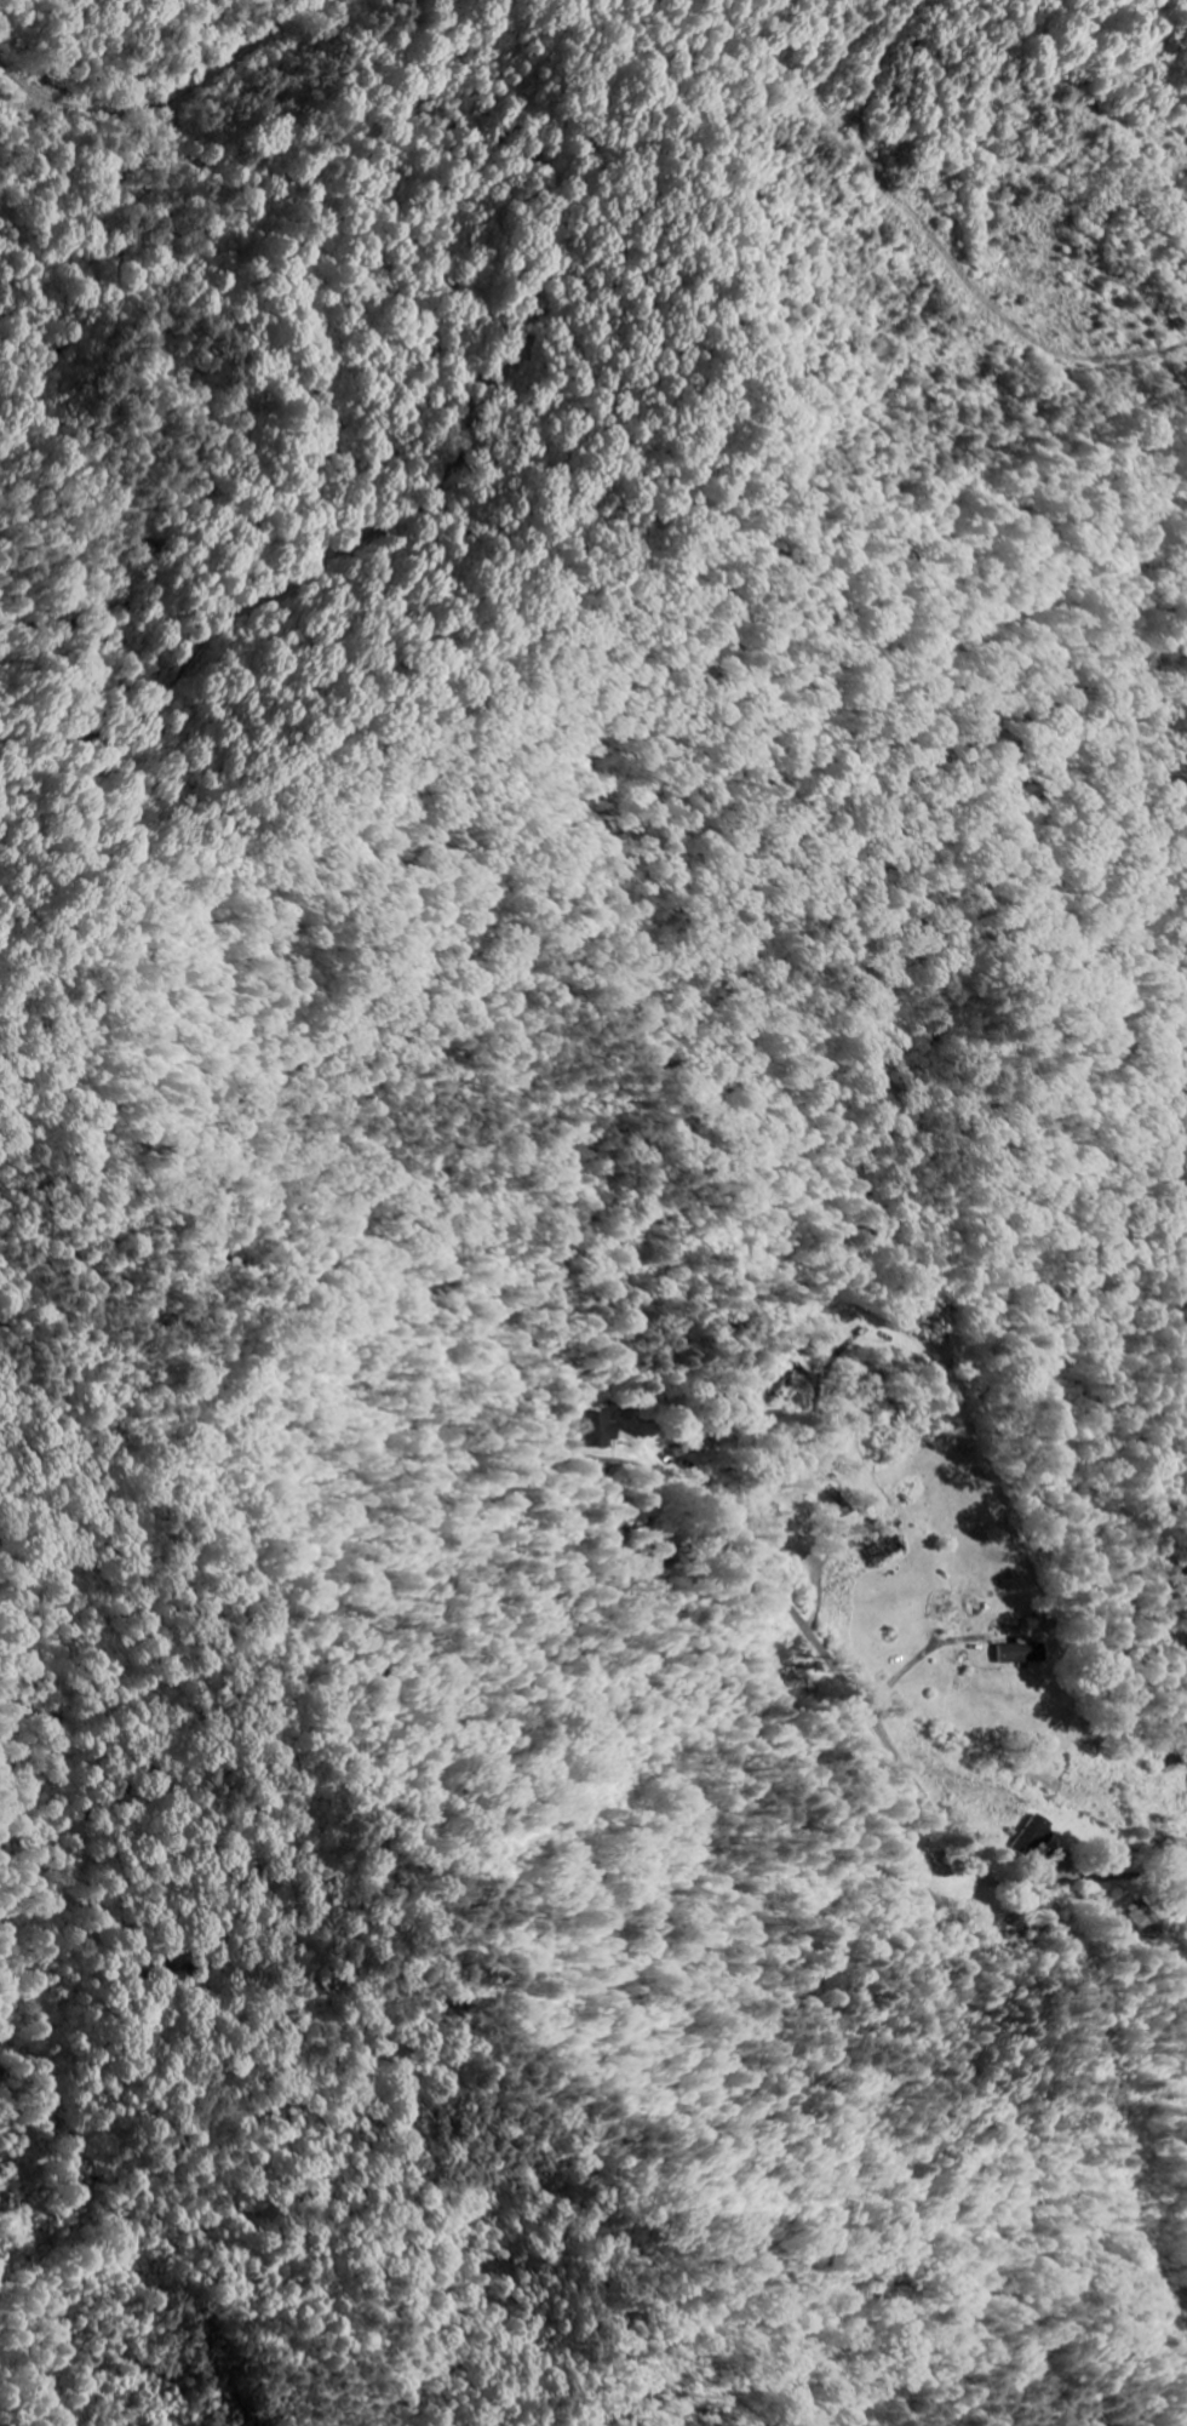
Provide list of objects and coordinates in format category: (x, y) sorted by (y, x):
road: (7, 87)
road: (197, 88)
building: (609, 1427)
building: (1016, 1652)
road: (908, 1763)
building: (1034, 1836)
road: (1186, 1884)
road: (1186, 1887)

